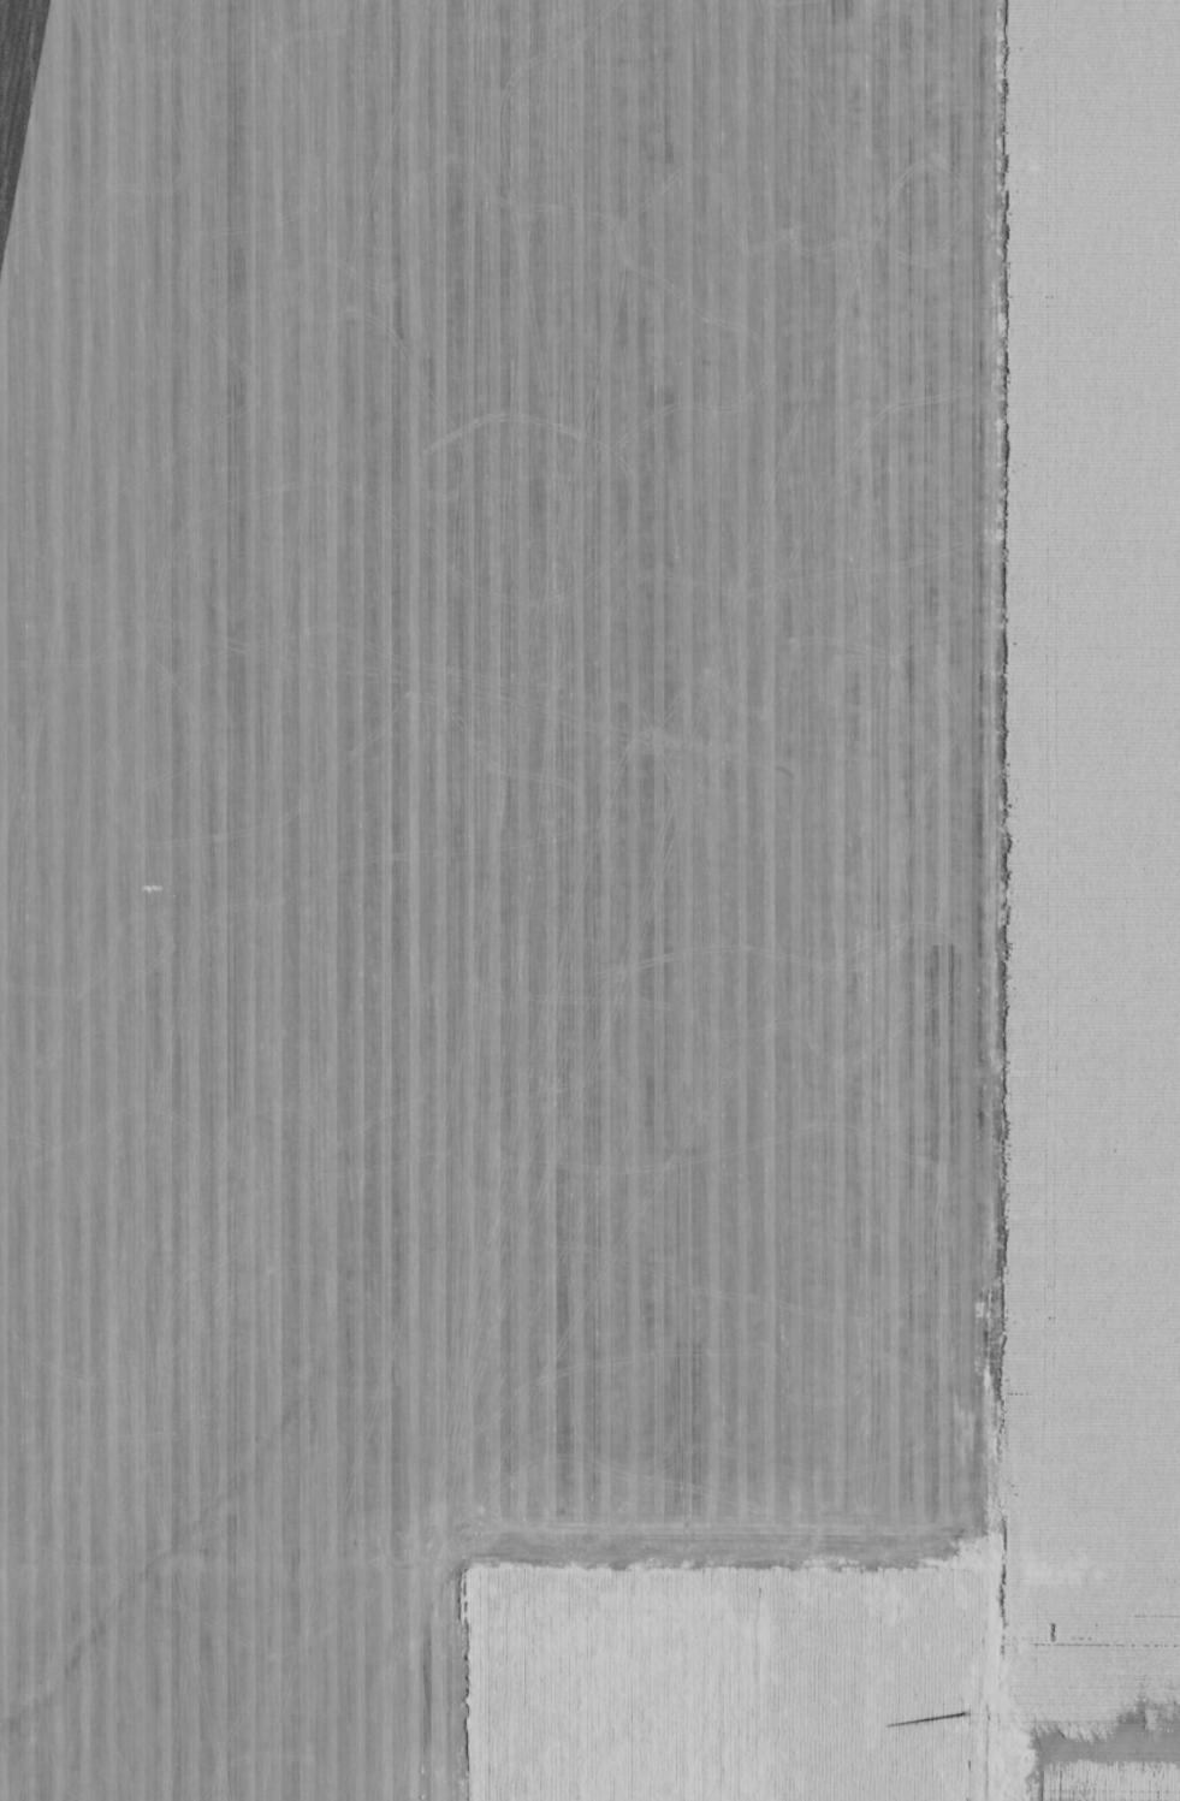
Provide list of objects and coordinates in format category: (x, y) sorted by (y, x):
power tower: (965, 1712)

